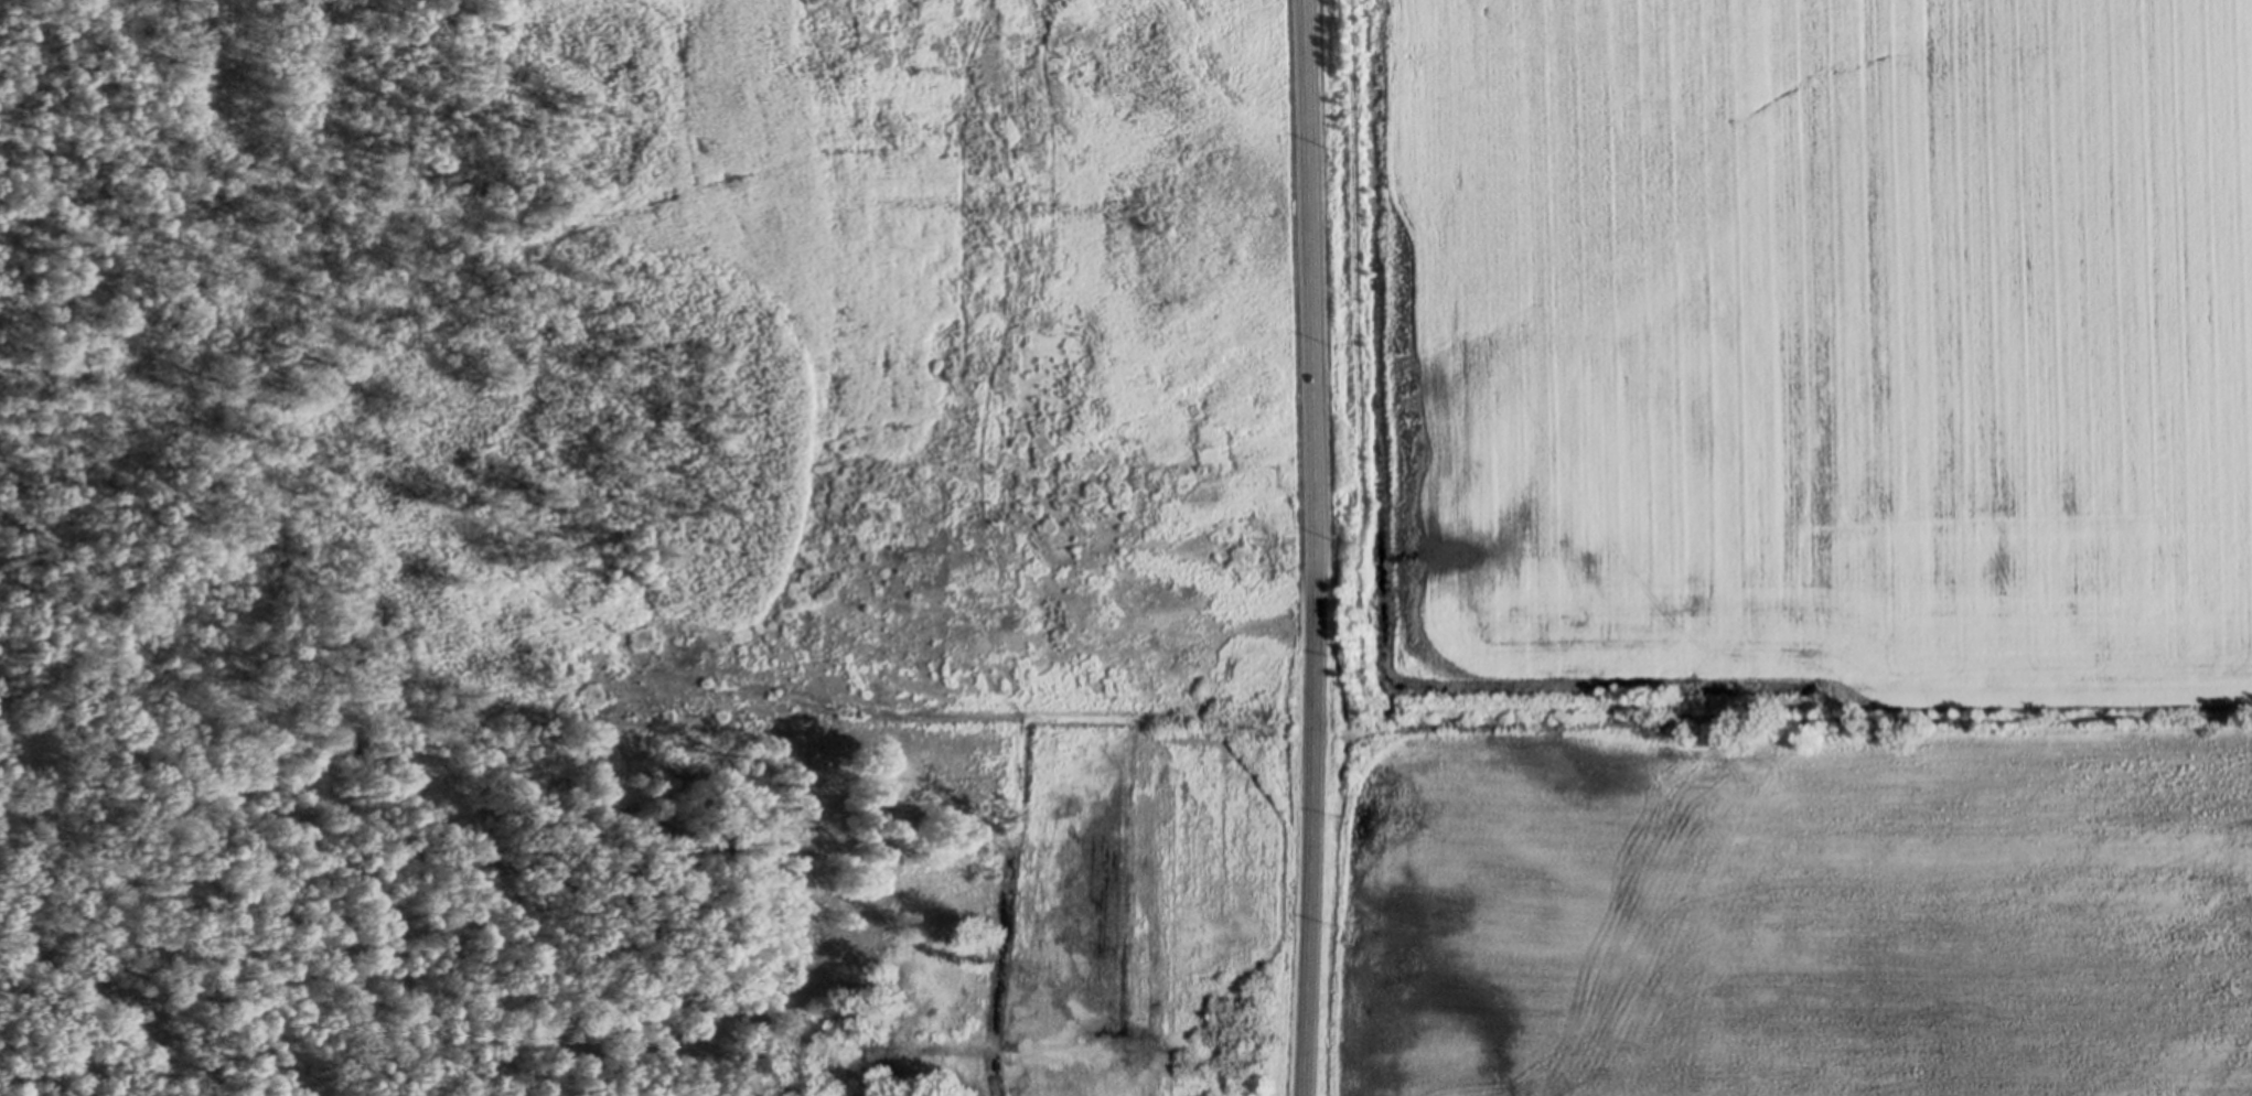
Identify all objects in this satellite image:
road: (1317, 547)

